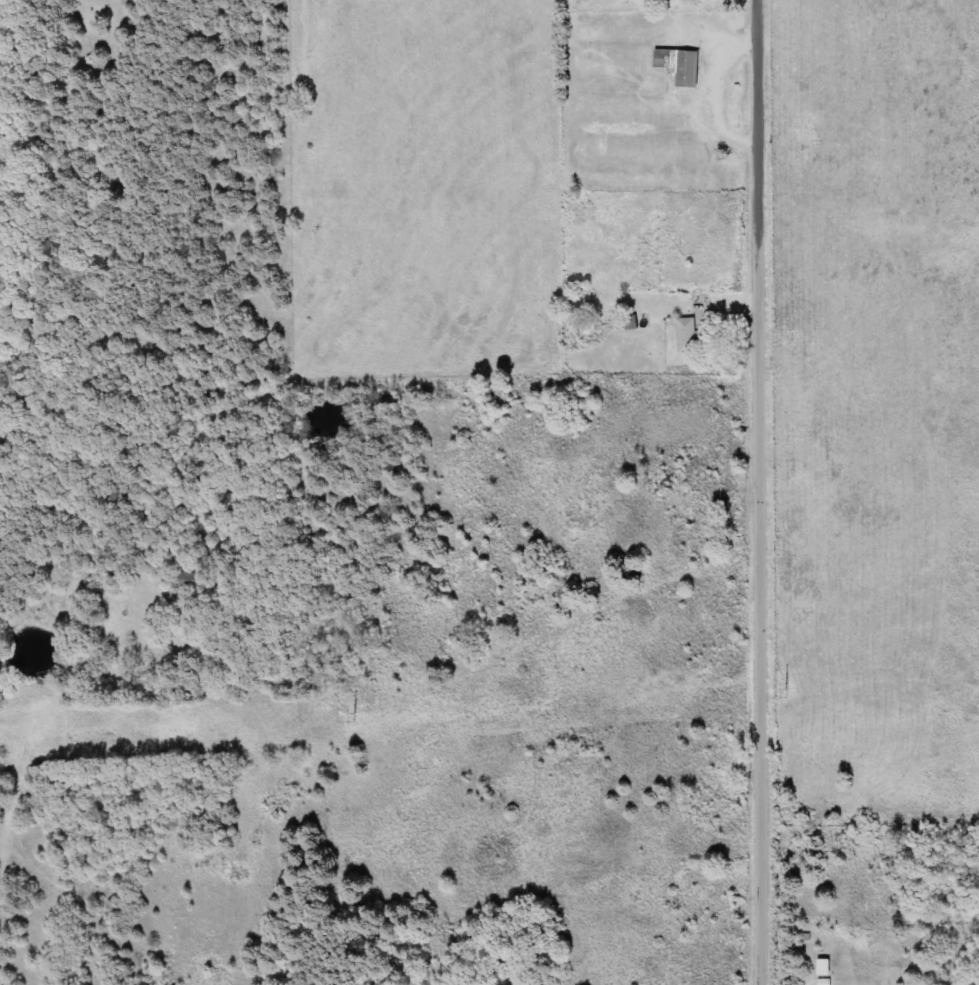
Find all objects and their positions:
building: (681, 65)
building: (693, 334)
road: (767, 492)
power tower: (786, 693)
power tower: (356, 717)
building: (829, 967)
building: (828, 982)

